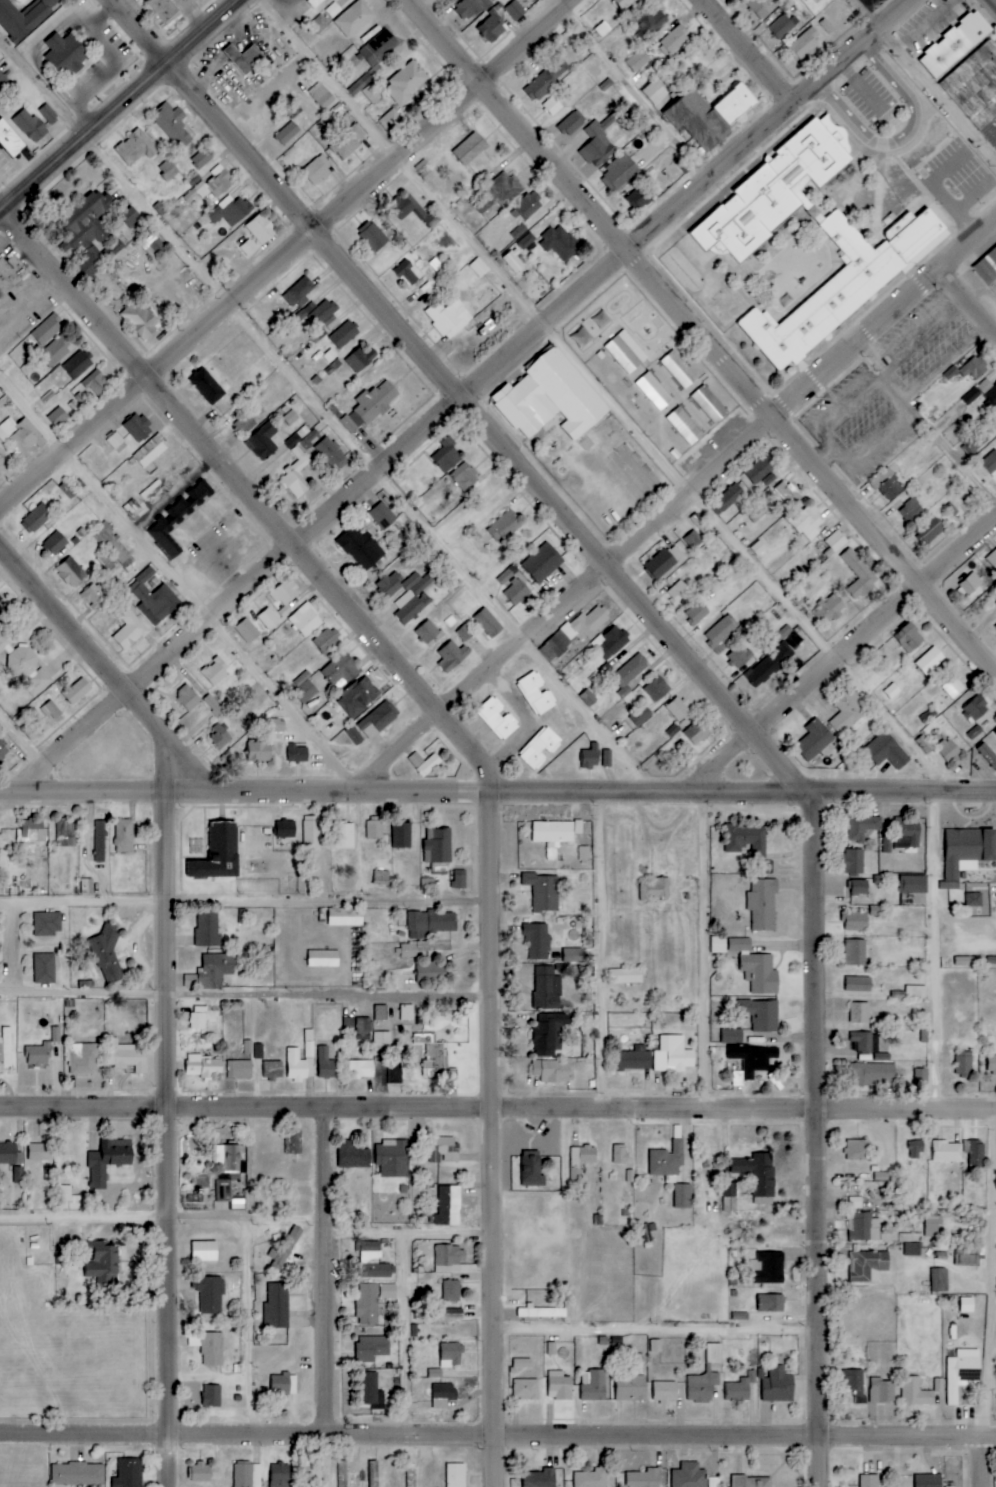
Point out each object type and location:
building: (806, 0)
road: (995, 0)
building: (314, 2)
building: (623, 3)
building: (759, 5)
building: (470, 8)
building: (163, 9)
building: (515, 10)
building: (24, 17)
building: (354, 18)
building: (786, 20)
building: (648, 22)
building: (319, 24)
building: (492, 28)
building: (674, 41)
building: (955, 44)
building: (804, 45)
building: (379, 47)
road: (742, 51)
building: (66, 54)
building: (244, 58)
building: (638, 60)
road: (921, 78)
building: (546, 80)
building: (3, 83)
building: (406, 83)
road: (626, 88)
building: (976, 90)
building: (654, 92)
building: (321, 95)
building: (552, 106)
road: (124, 110)
building: (710, 113)
building: (390, 120)
building: (571, 124)
building: (30, 126)
building: (171, 126)
building: (287, 133)
road: (903, 137)
building: (10, 140)
building: (348, 141)
building: (598, 142)
building: (135, 148)
building: (470, 149)
building: (201, 159)
building: (317, 169)
building: (168, 170)
building: (620, 172)
building: (211, 185)
building: (774, 191)
building: (494, 192)
building: (639, 198)
building: (528, 206)
building: (230, 211)
building: (402, 212)
building: (88, 229)
building: (261, 229)
building: (519, 231)
building: (372, 236)
building: (526, 241)
building: (560, 243)
road: (286, 252)
building: (514, 261)
building: (986, 266)
building: (479, 267)
building: (408, 273)
building: (10, 275)
building: (845, 284)
building: (300, 292)
road: (965, 298)
building: (323, 311)
building: (449, 318)
building: (140, 320)
building: (47, 330)
building: (344, 335)
road: (699, 336)
building: (625, 352)
building: (55, 353)
building: (330, 356)
building: (360, 358)
building: (77, 365)
building: (974, 368)
building: (679, 369)
building: (95, 382)
building: (210, 382)
road: (480, 385)
building: (654, 391)
building: (983, 393)
building: (550, 398)
building: (373, 403)
building: (709, 404)
road: (328, 413)
building: (291, 417)
road: (927, 418)
building: (57, 419)
building: (245, 424)
building: (685, 426)
building: (138, 428)
building: (18, 436)
building: (303, 439)
building: (265, 442)
building: (150, 451)
building: (332, 453)
building: (447, 456)
building: (990, 463)
building: (762, 471)
building: (295, 475)
building: (464, 477)
building: (888, 484)
building: (789, 493)
building: (731, 496)
road: (681, 508)
building: (910, 509)
road: (714, 512)
building: (754, 514)
building: (382, 516)
building: (37, 518)
building: (174, 520)
building: (808, 522)
building: (504, 526)
building: (930, 530)
building: (836, 541)
building: (55, 543)
building: (113, 544)
building: (360, 548)
building: (666, 559)
building: (992, 559)
building: (542, 563)
building: (859, 574)
building: (67, 576)
road: (182, 580)
building: (969, 584)
building: (513, 588)
building: (678, 593)
building: (407, 594)
building: (285, 596)
building: (154, 599)
building: (994, 599)
building: (1, 605)
building: (829, 610)
building: (697, 613)
building: (268, 619)
building: (305, 620)
building: (437, 622)
building: (488, 623)
building: (995, 626)
building: (130, 631)
building: (247, 631)
building: (465, 632)
building: (574, 633)
building: (428, 634)
building: (720, 635)
building: (908, 638)
building: (3, 642)
building: (326, 642)
building: (610, 642)
road: (847, 653)
road: (696, 656)
building: (452, 657)
building: (735, 660)
building: (930, 661)
building: (20, 663)
road: (105, 665)
building: (768, 665)
building: (341, 669)
building: (215, 672)
building: (628, 675)
building: (38, 684)
building: (304, 688)
building: (953, 688)
building: (657, 689)
building: (76, 691)
building: (536, 693)
building: (361, 694)
building: (187, 698)
building: (212, 705)
building: (52, 709)
building: (678, 709)
building: (976, 709)
building: (848, 712)
building: (640, 716)
building: (497, 719)
building: (377, 721)
road: (536, 722)
building: (275, 726)
building: (695, 733)
building: (975, 733)
building: (995, 733)
road: (24, 737)
building: (219, 737)
building: (814, 741)
building: (927, 741)
building: (540, 748)
building: (949, 750)
building: (4, 751)
building: (886, 751)
building: (258, 752)
building: (298, 754)
building: (988, 754)
road: (480, 755)
building: (590, 757)
building: (607, 758)
building: (424, 764)
road: (31, 780)
road: (497, 791)
building: (862, 827)
building: (375, 828)
building: (286, 829)
building: (30, 830)
building: (907, 832)
building: (66, 833)
building: (311, 834)
building: (554, 834)
building: (344, 835)
building: (401, 835)
building: (123, 836)
building: (888, 837)
building: (746, 840)
building: (98, 842)
building: (438, 846)
building: (966, 852)
building: (218, 854)
building: (854, 861)
building: (381, 878)
building: (459, 879)
building: (913, 884)
building: (858, 887)
building: (654, 888)
building: (543, 891)
road: (248, 905)
building: (763, 905)
building: (345, 917)
building: (431, 921)
building: (854, 921)
building: (47, 924)
building: (207, 929)
building: (537, 941)
building: (718, 945)
road: (609, 949)
building: (408, 950)
road: (711, 950)
road: (20, 951)
building: (855, 952)
building: (107, 954)
building: (573, 955)
building: (322, 960)
building: (965, 961)
building: (756, 967)
building: (44, 968)
building: (216, 969)
building: (429, 972)
building: (625, 976)
building: (192, 981)
building: (858, 984)
building: (547, 988)
building: (916, 992)
building: (898, 995)
road: (248, 998)
building: (380, 1012)
building: (406, 1012)
building: (859, 1012)
building: (761, 1014)
building: (198, 1017)
building: (549, 1034)
building: (732, 1036)
building: (382, 1038)
building: (862, 1041)
building: (5, 1050)
building: (37, 1055)
building: (673, 1055)
building: (125, 1056)
building: (83, 1058)
building: (435, 1059)
building: (753, 1059)
building: (632, 1061)
building: (325, 1063)
building: (991, 1063)
building: (964, 1064)
building: (296, 1065)
building: (202, 1066)
building: (239, 1069)
building: (360, 1069)
building: (273, 1070)
building: (552, 1071)
building: (395, 1073)
building: (873, 1074)
road: (498, 1107)
road: (176, 1140)
building: (295, 1142)
building: (443, 1149)
building: (858, 1149)
building: (915, 1150)
building: (946, 1151)
building: (38, 1152)
building: (10, 1153)
building: (976, 1153)
building: (620, 1154)
building: (354, 1156)
building: (227, 1158)
building: (392, 1158)
building: (108, 1160)
building: (667, 1160)
building: (580, 1163)
building: (532, 1169)
building: (48, 1174)
building: (16, 1175)
building: (763, 1179)
building: (223, 1190)
building: (683, 1196)
building: (67, 1198)
building: (446, 1207)
road: (164, 1219)
building: (932, 1225)
building: (863, 1227)
building: (889, 1236)
road: (414, 1237)
building: (912, 1244)
building: (204, 1251)
building: (450, 1255)
building: (967, 1255)
building: (373, 1261)
building: (867, 1265)
building: (769, 1268)
road: (328, 1272)
building: (939, 1280)
building: (388, 1291)
building: (452, 1291)
building: (210, 1294)
building: (771, 1303)
building: (368, 1304)
building: (967, 1305)
building: (277, 1307)
road: (990, 1309)
building: (537, 1312)
road: (248, 1329)
road: (406, 1336)
building: (208, 1347)
building: (373, 1348)
building: (450, 1355)
building: (522, 1363)
building: (962, 1372)
building: (435, 1373)
building: (705, 1377)
building: (382, 1383)
building: (283, 1384)
building: (855, 1384)
building: (593, 1385)
building: (778, 1385)
building: (559, 1386)
building: (630, 1388)
building: (740, 1388)
building: (525, 1389)
building: (371, 1391)
building: (881, 1391)
building: (665, 1392)
building: (915, 1392)
building: (210, 1395)
building: (443, 1395)
road: (226, 1414)
road: (497, 1438)
road: (981, 1461)
building: (312, 1472)
building: (128, 1473)
building: (199, 1473)
building: (77, 1474)
building: (342, 1474)
building: (373, 1474)
building: (247, 1475)
building: (279, 1475)
building: (456, 1475)
building: (689, 1476)
building: (540, 1478)
building: (591, 1478)
building: (643, 1478)
building: (928, 1480)
building: (869, 1481)
building: (758, 1482)
building: (410, 1484)

